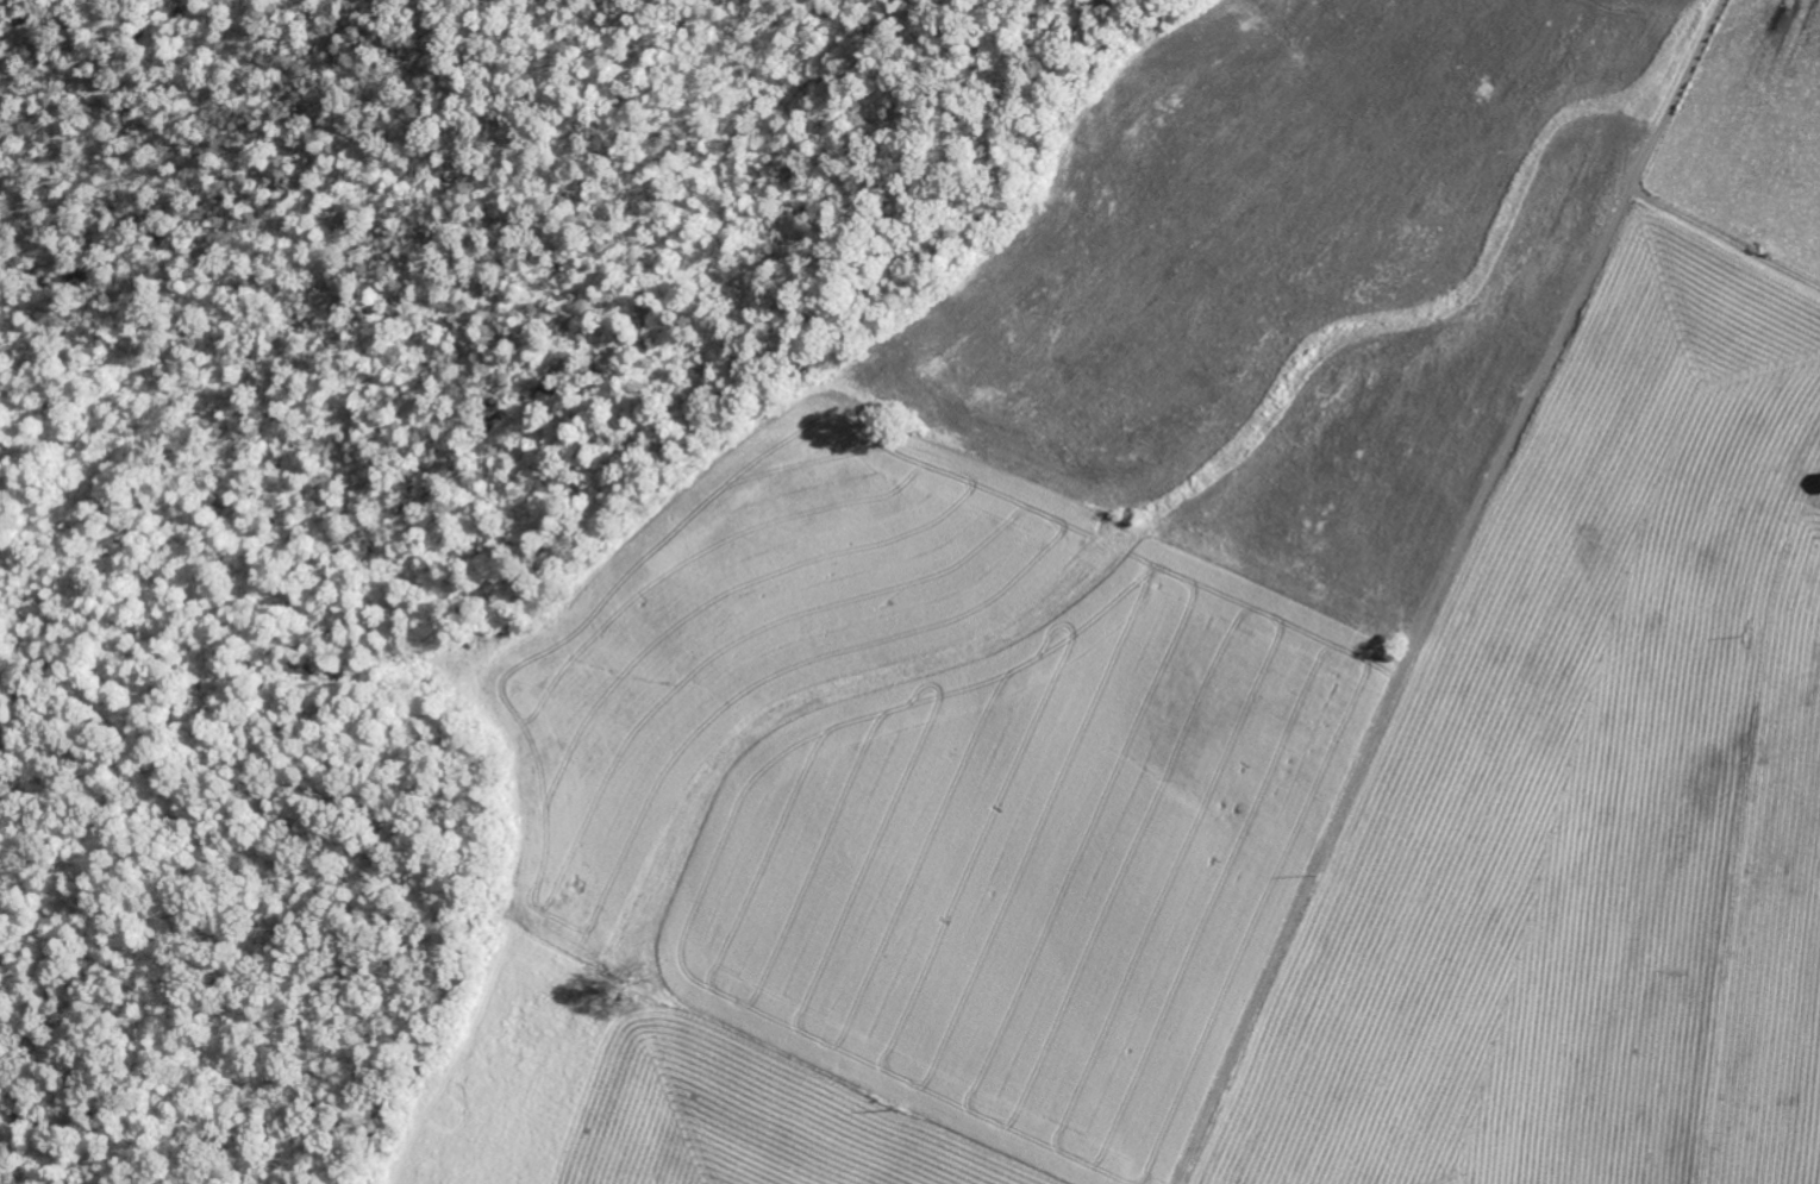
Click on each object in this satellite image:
road: (1710, 319)
road: (1511, 443)
road: (1242, 1038)

